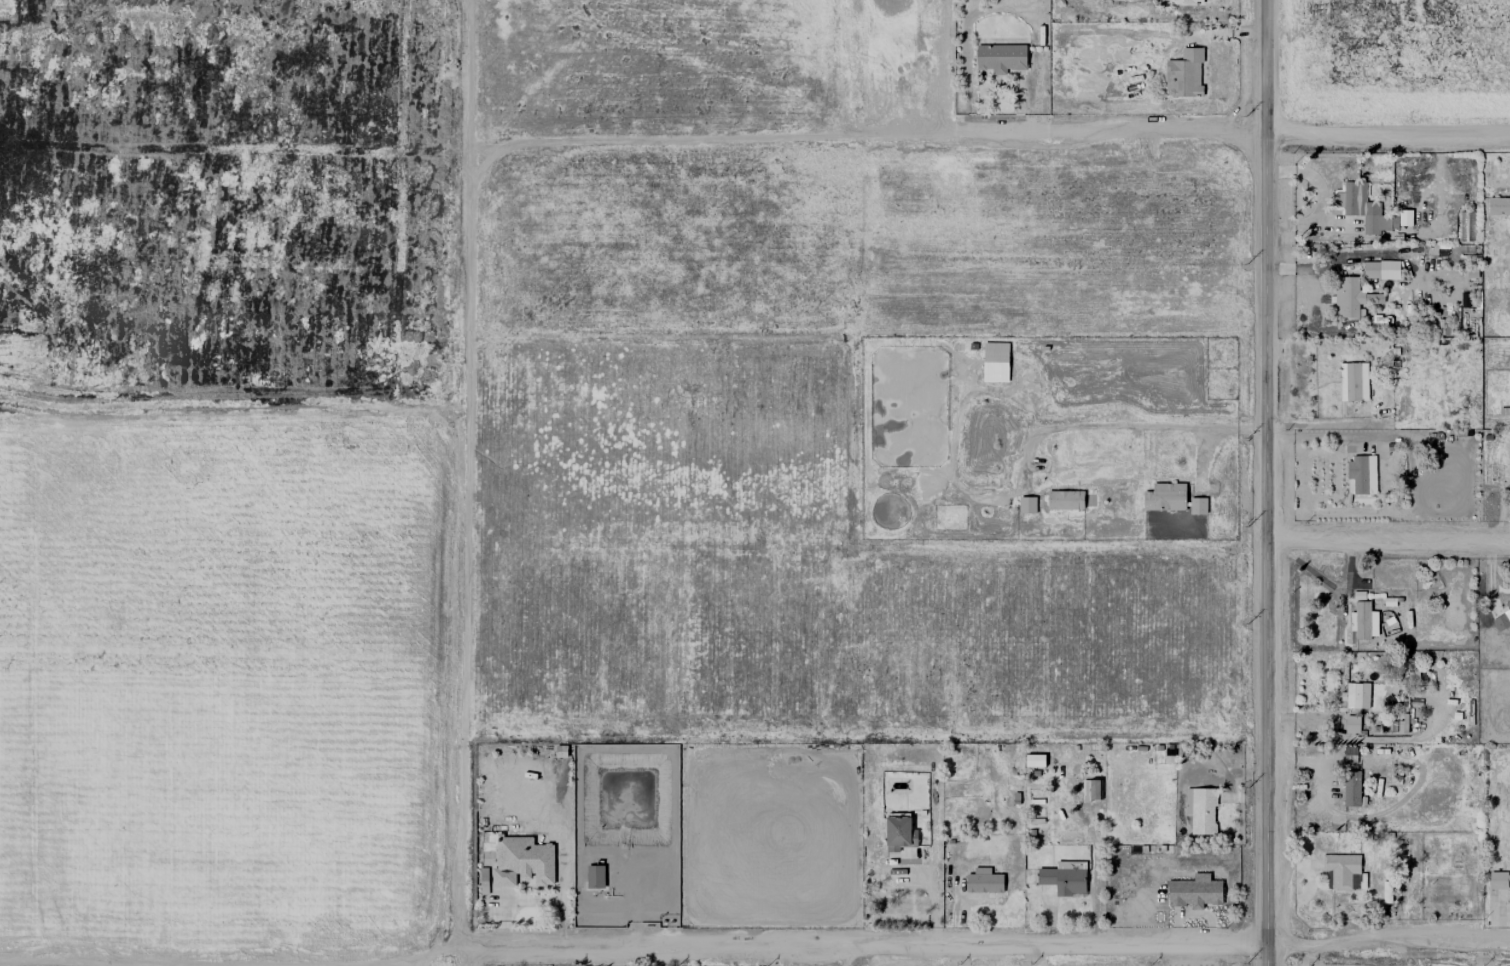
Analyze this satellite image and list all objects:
building: (1183, 1)
building: (1000, 58)
building: (1184, 74)
road: (1235, 138)
road: (713, 140)
building: (1498, 206)
building: (1370, 210)
building: (1370, 269)
building: (1351, 297)
building: (994, 361)
building: (1353, 381)
road: (1132, 426)
road: (1327, 433)
building: (1361, 474)
road: (465, 483)
road: (1266, 483)
building: (1164, 497)
building: (1064, 500)
building: (1026, 504)
building: (1197, 506)
road: (1388, 538)
building: (1508, 605)
building: (1500, 622)
building: (1356, 695)
building: (1351, 724)
building: (1034, 760)
building: (1351, 788)
building: (1090, 790)
building: (1187, 800)
building: (1202, 811)
building: (899, 832)
building: (1408, 854)
building: (522, 862)
building: (1342, 872)
building: (594, 877)
building: (1497, 880)
building: (983, 881)
road: (934, 890)
building: (1194, 892)
road: (754, 952)

